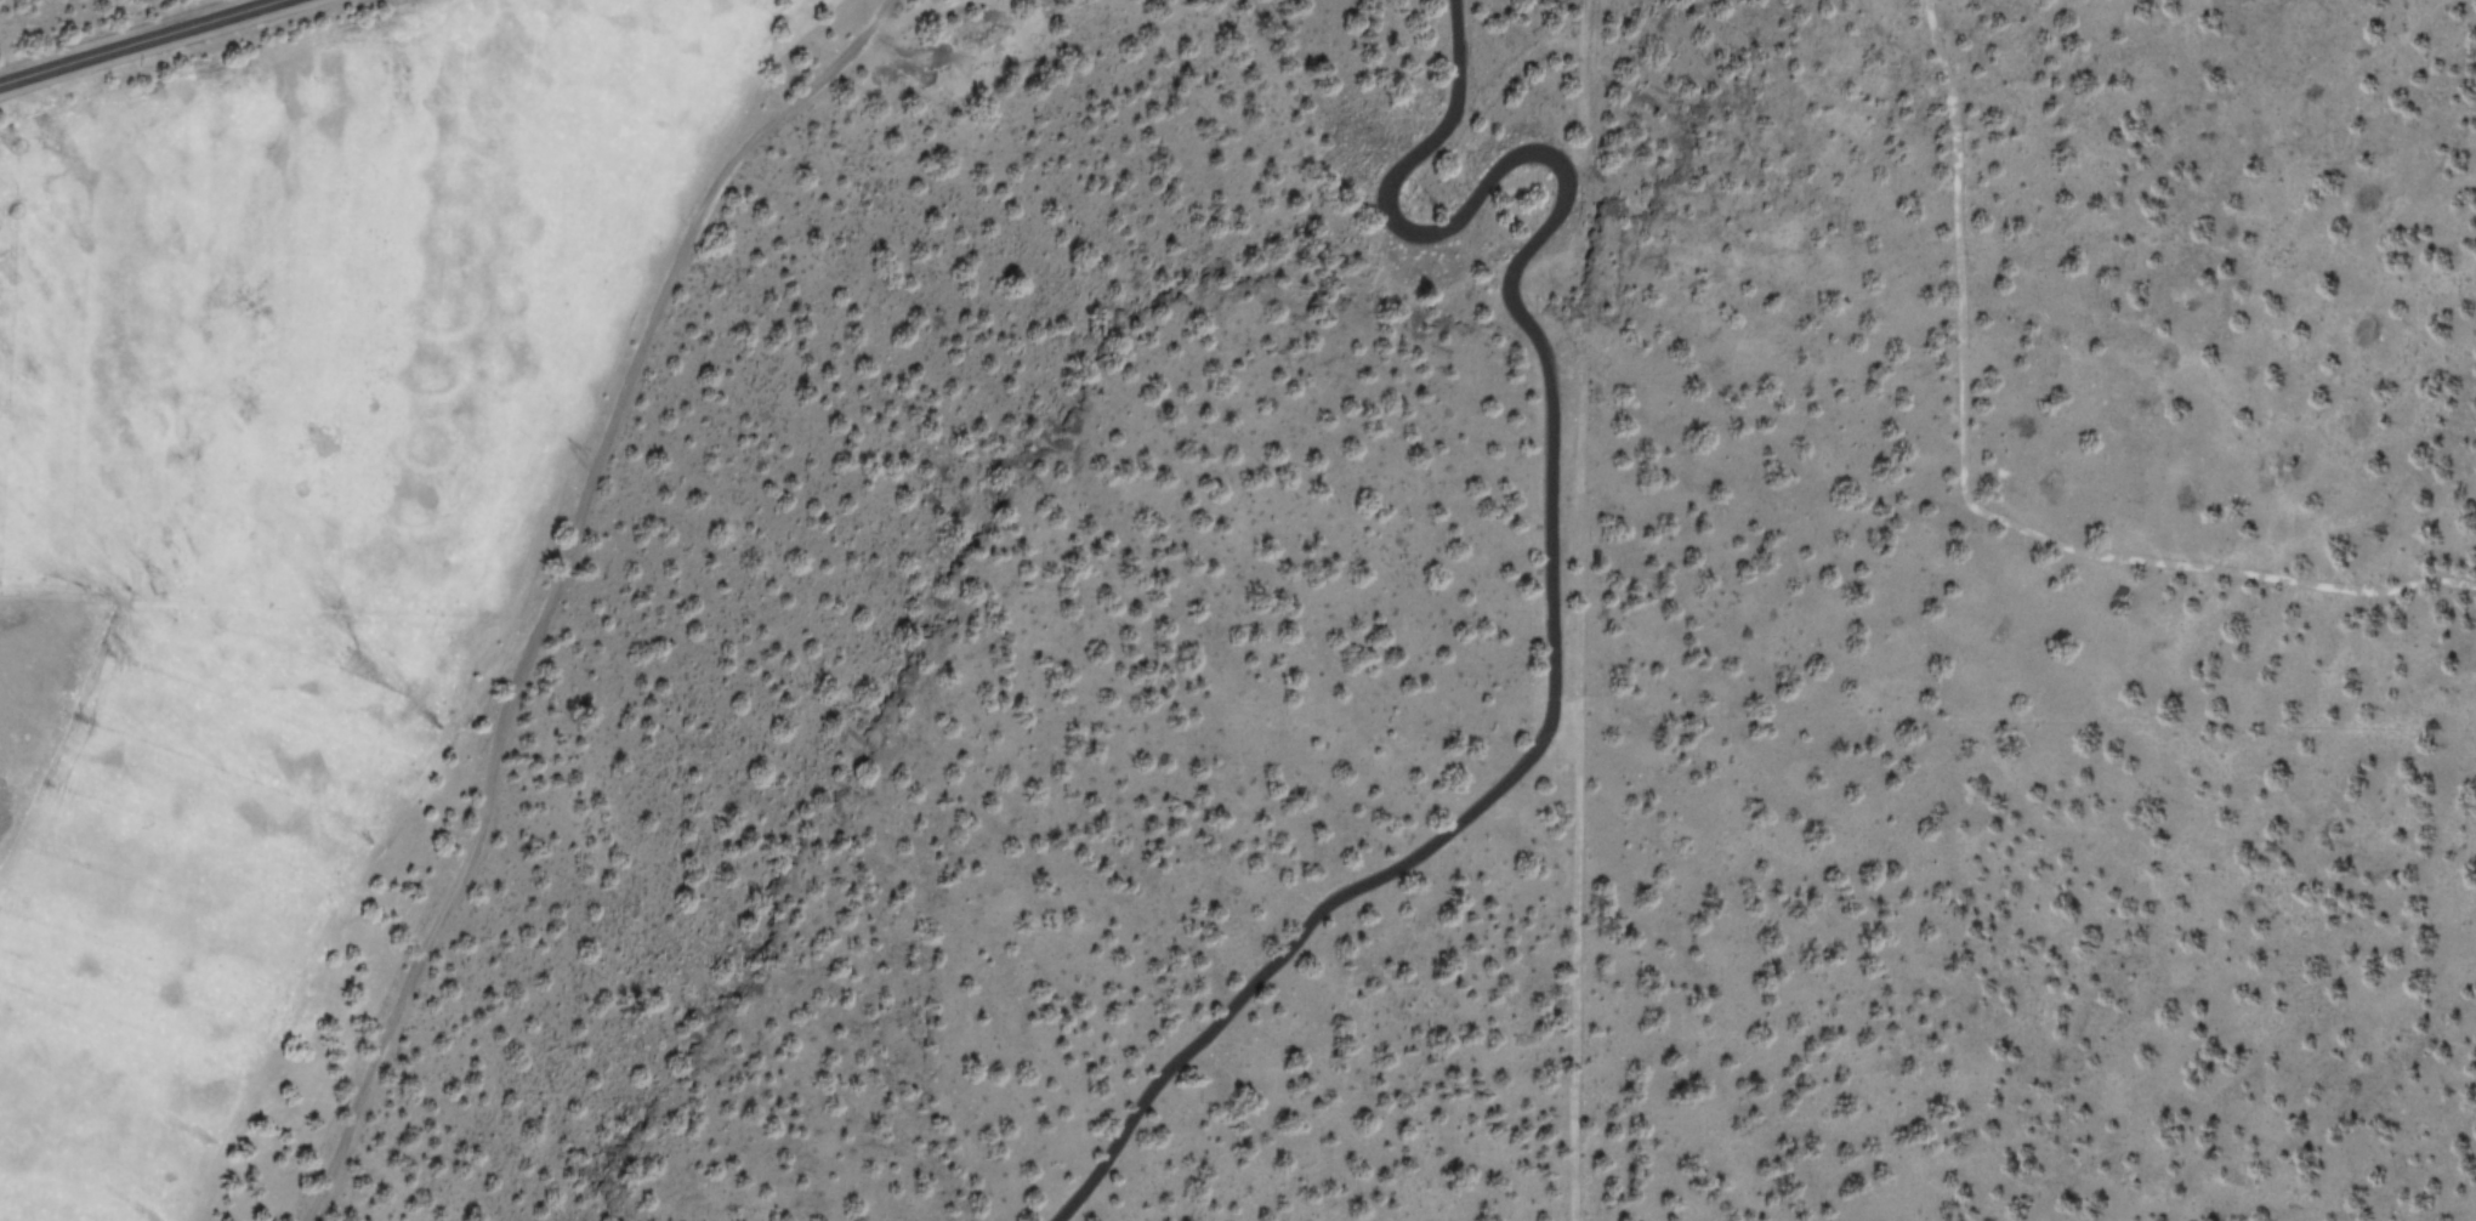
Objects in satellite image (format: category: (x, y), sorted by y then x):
road: (147, 44)
crop: (262, 493)

